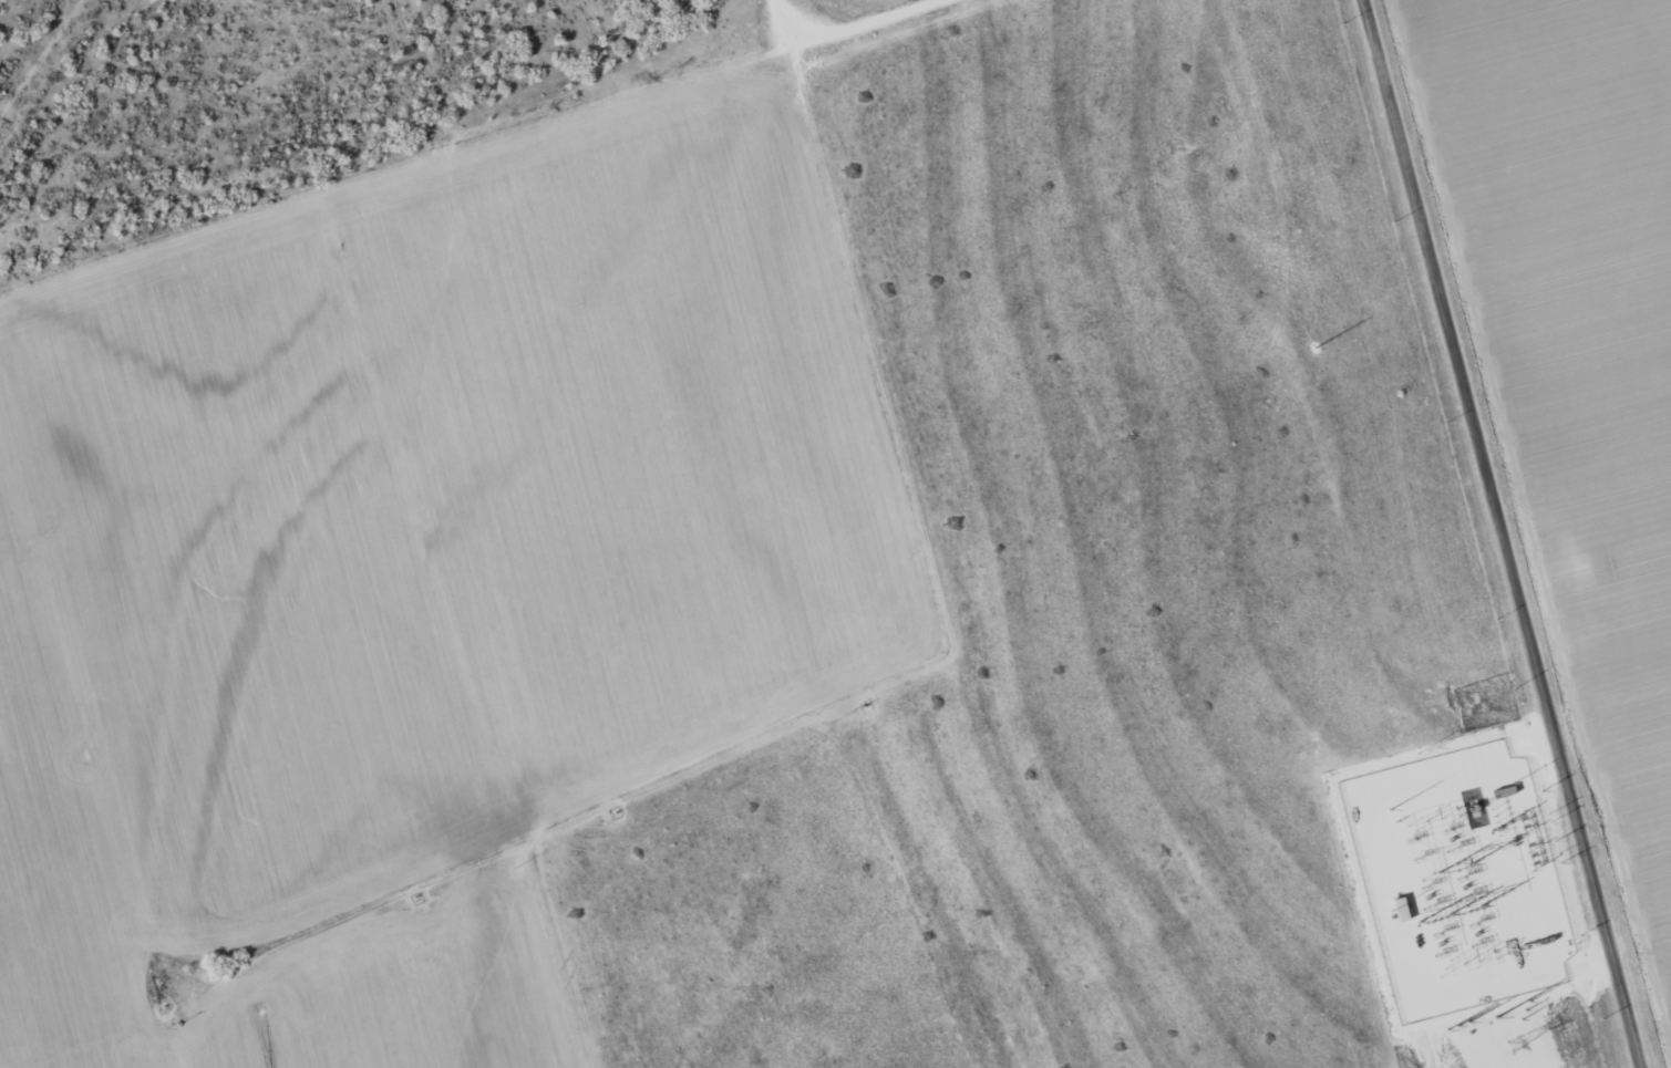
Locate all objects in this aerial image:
power tower: (1317, 348)
road: (1505, 533)
road: (897, 713)
power tower: (1428, 753)
building: (1506, 791)
power substation: (1474, 849)
power tower: (1453, 850)
power tower: (1442, 869)
power tower: (1461, 881)
power tower: (1384, 884)
power tower: (1498, 945)
power tower: (1438, 987)
power tower: (1517, 1044)

